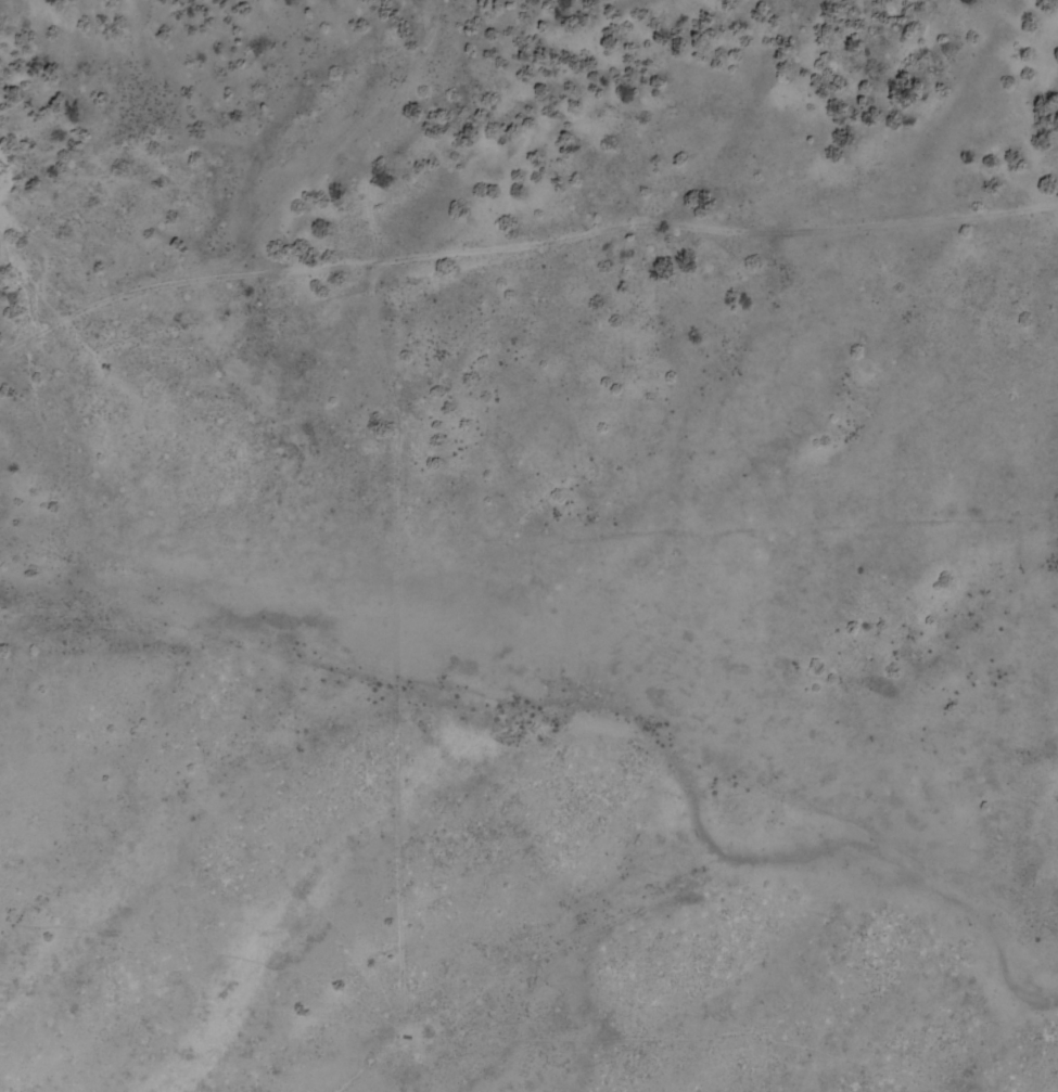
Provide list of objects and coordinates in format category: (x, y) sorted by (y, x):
road: (293, 203)
road: (528, 306)

